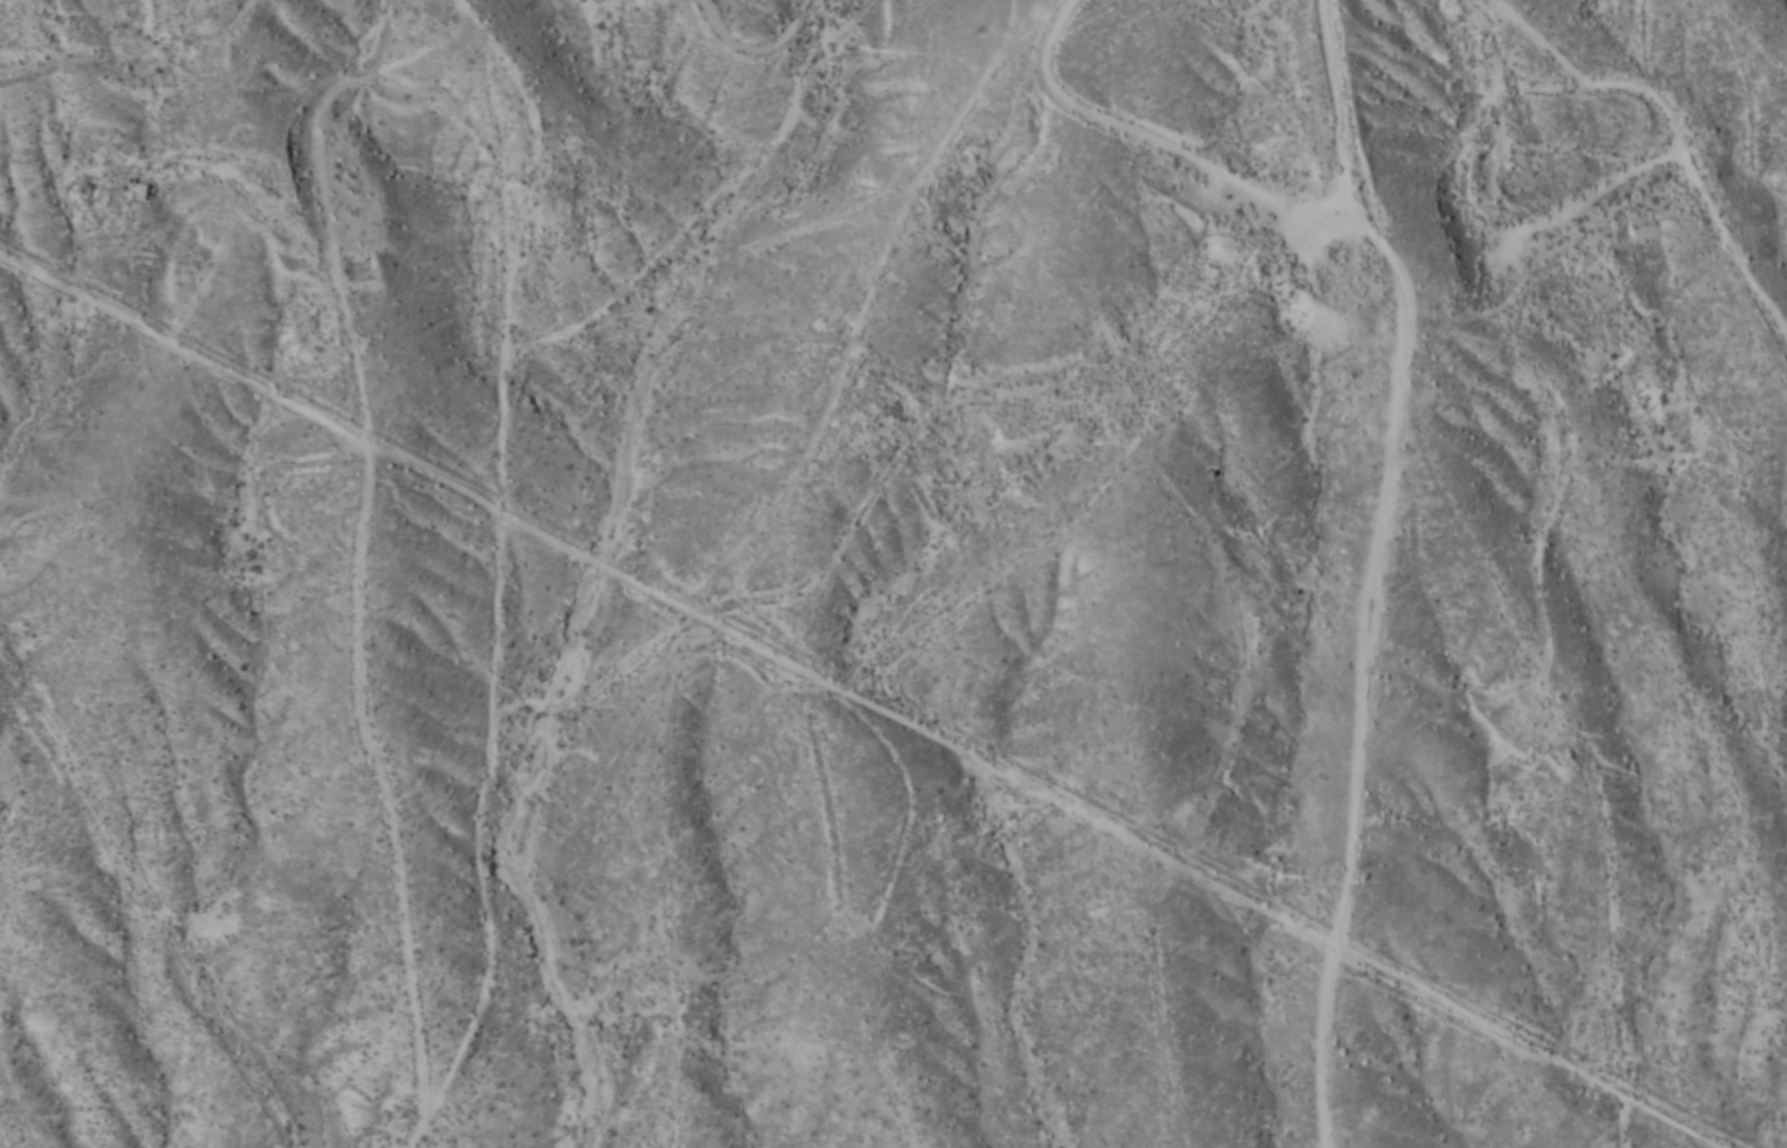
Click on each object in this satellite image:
building: (134, 191)

